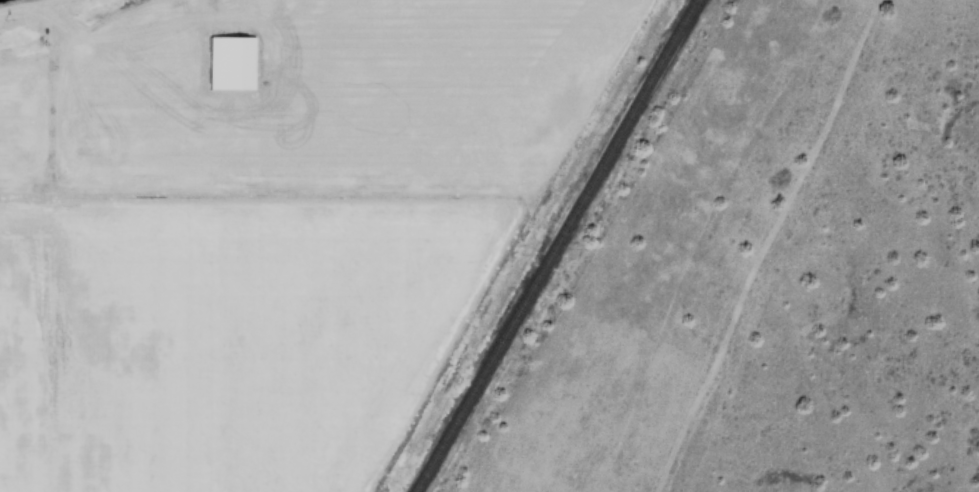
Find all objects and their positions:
building: (228, 62)
road: (835, 101)
railway: (564, 246)
road: (721, 346)

